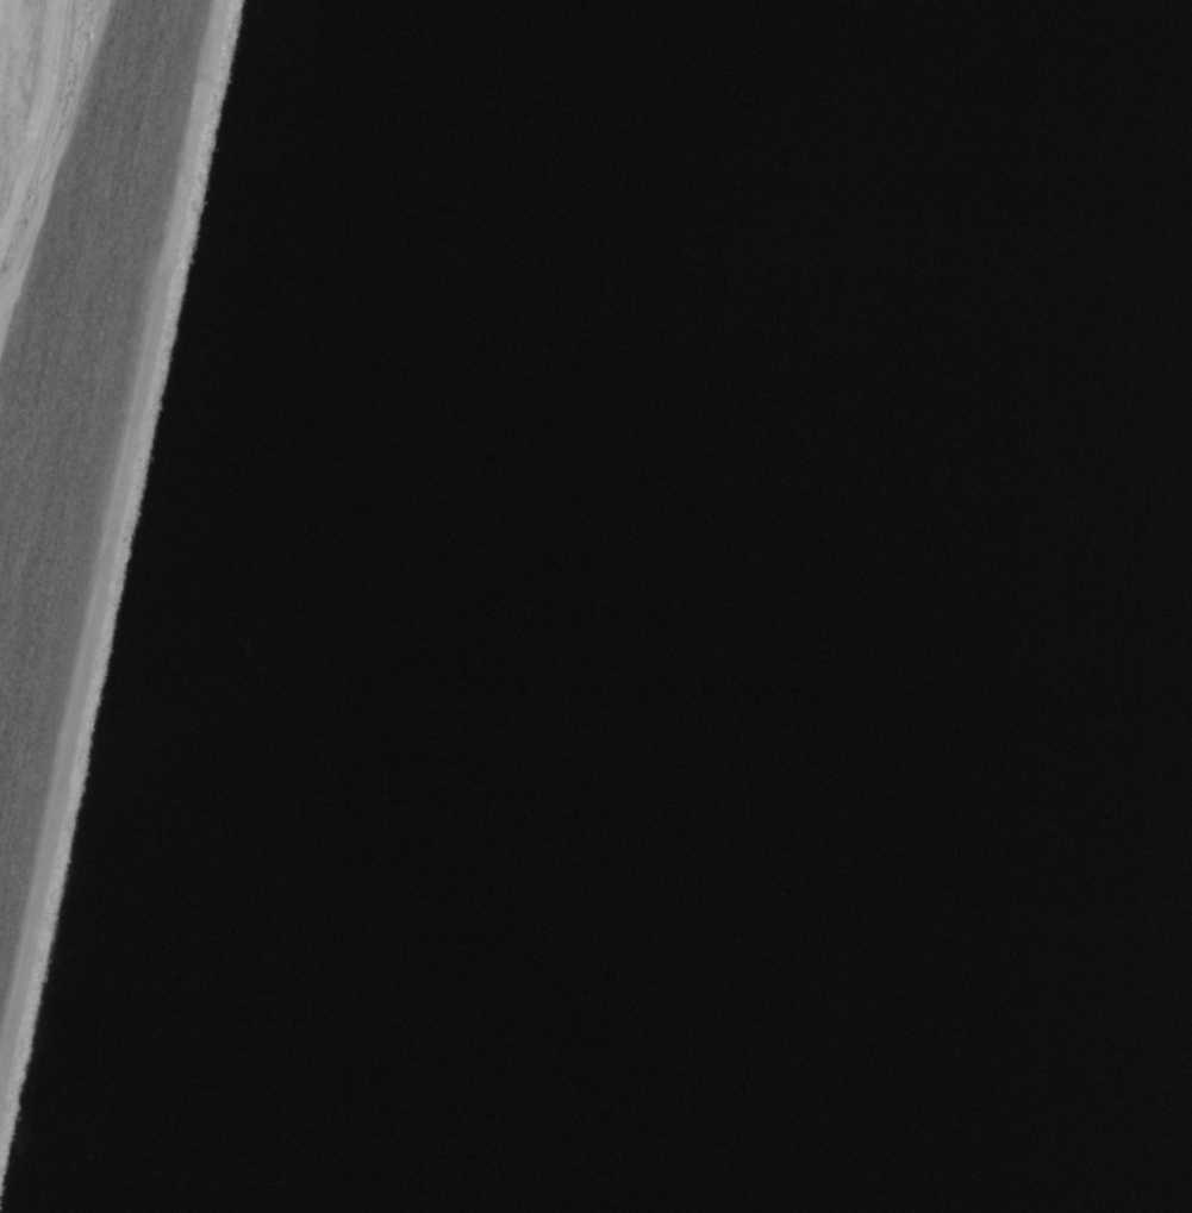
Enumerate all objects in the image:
road: (39, 129)
road: (110, 580)
dam: (146, 606)

